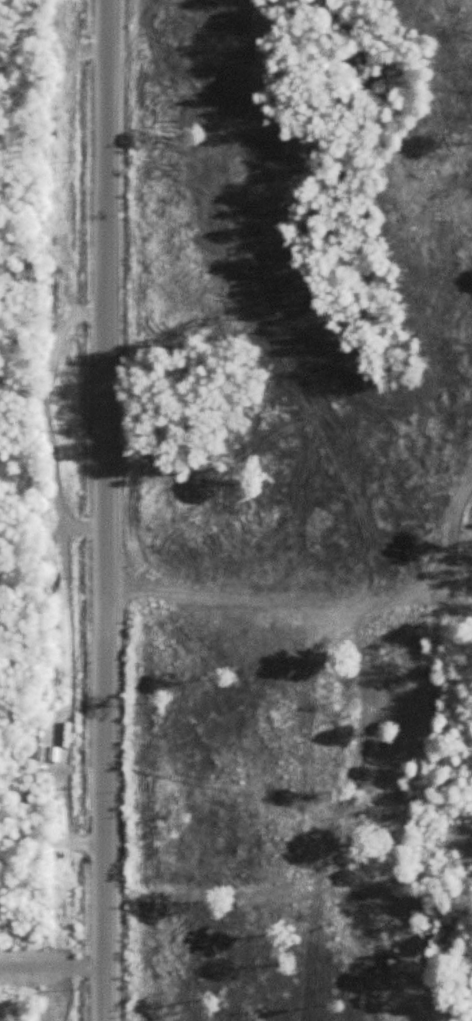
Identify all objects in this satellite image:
road: (104, 510)
road: (51, 840)

